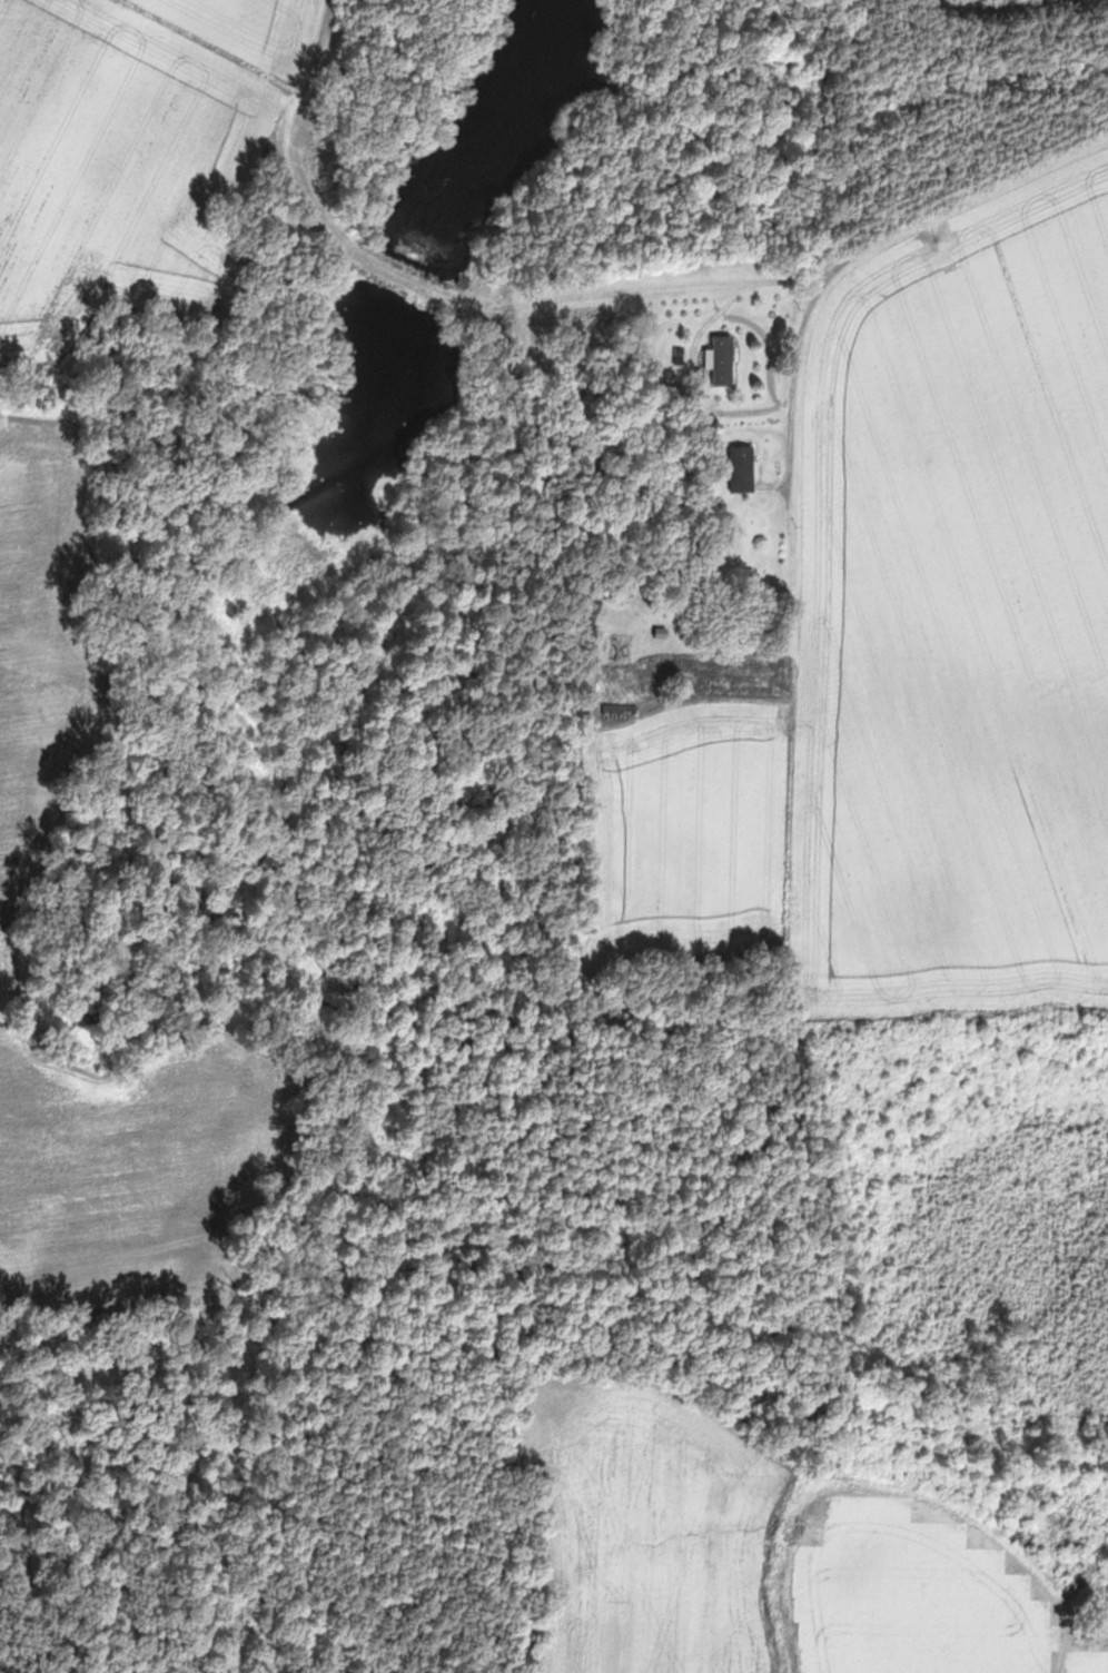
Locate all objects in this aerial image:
road: (838, 269)
building: (724, 360)
building: (743, 469)

